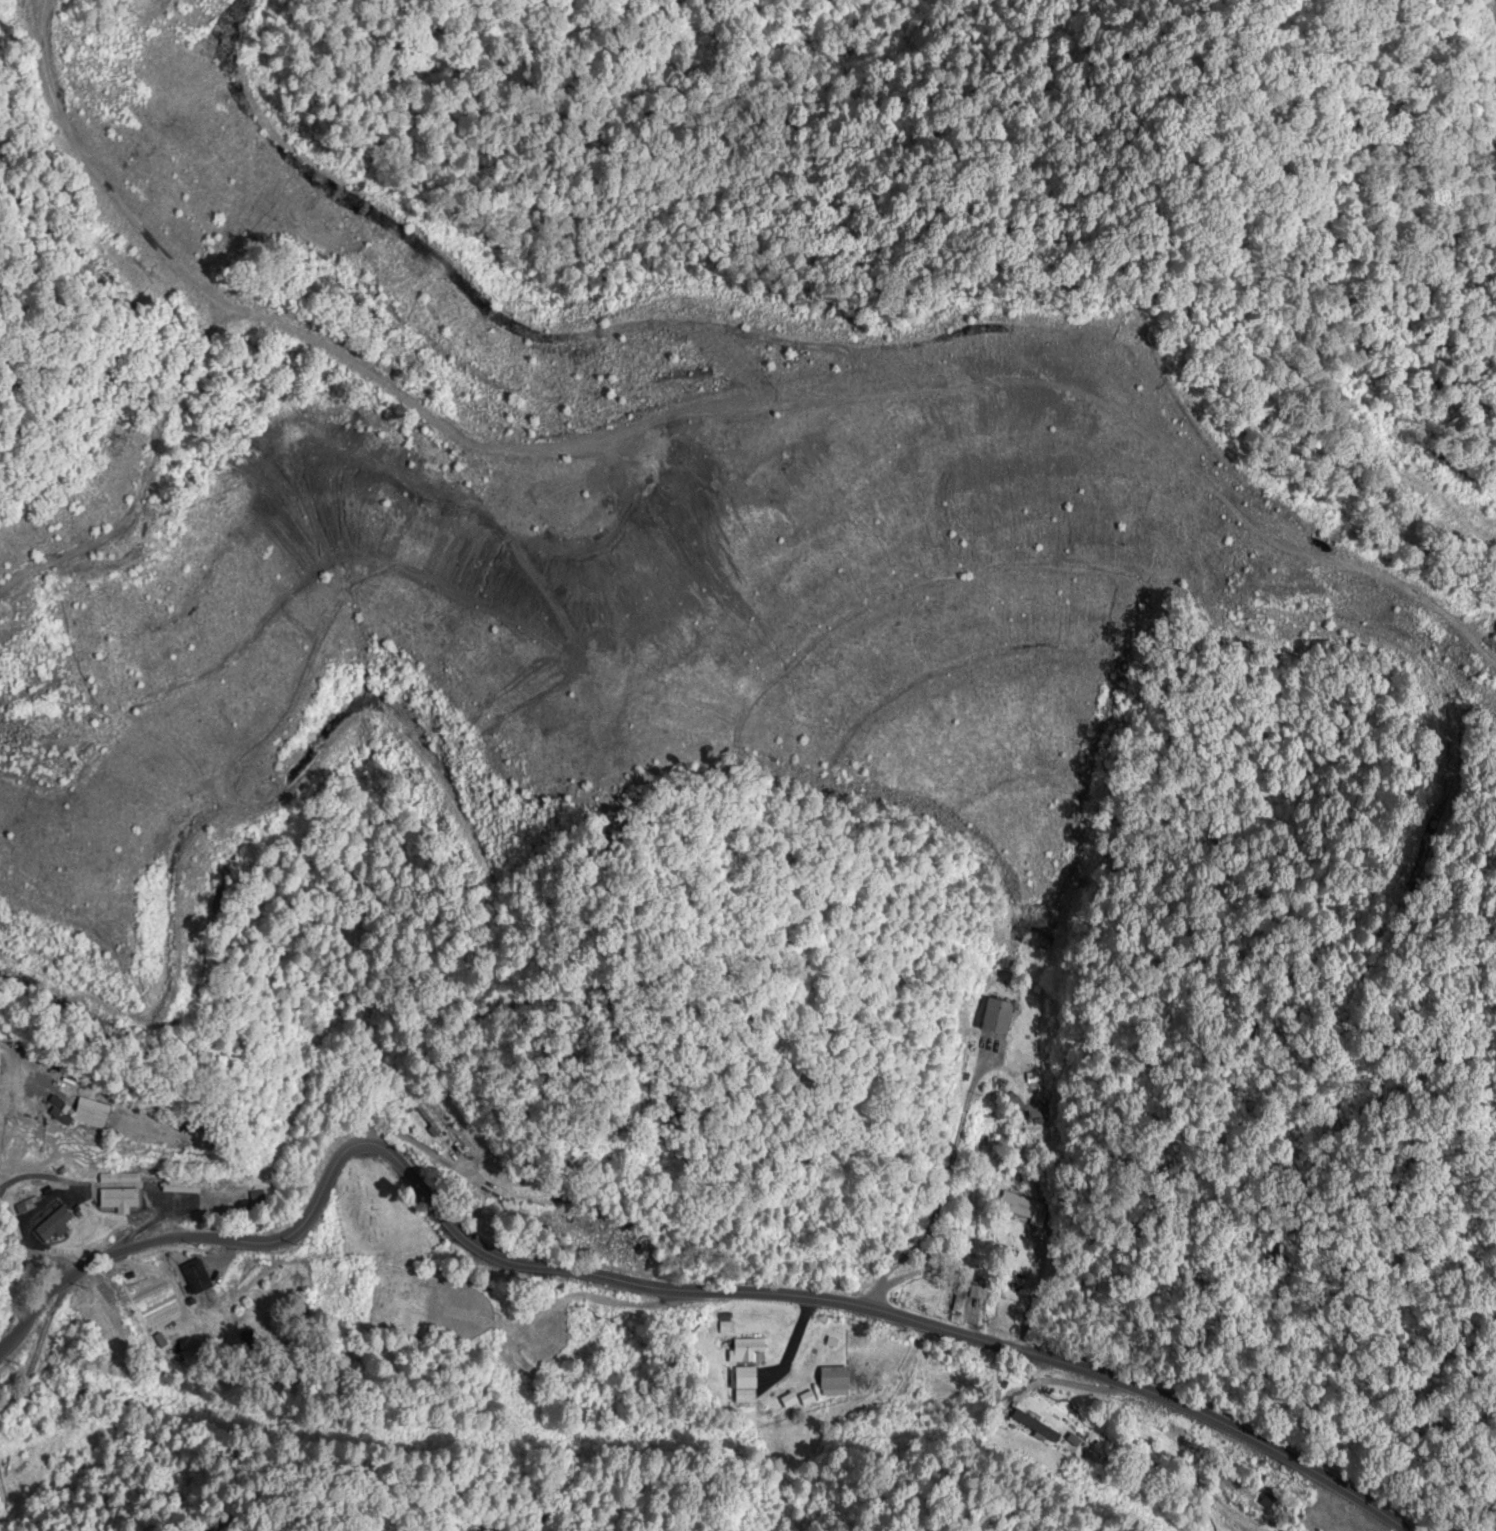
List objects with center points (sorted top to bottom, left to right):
building: (999, 1016)
building: (86, 1113)
building: (104, 1178)
building: (122, 1199)
building: (1018, 1205)
building: (57, 1224)
park: (408, 1263)
building: (199, 1280)
road: (657, 1289)
building: (818, 1337)
building: (750, 1351)
building: (837, 1382)
building: (745, 1385)
building: (795, 1399)
building: (1032, 1425)

